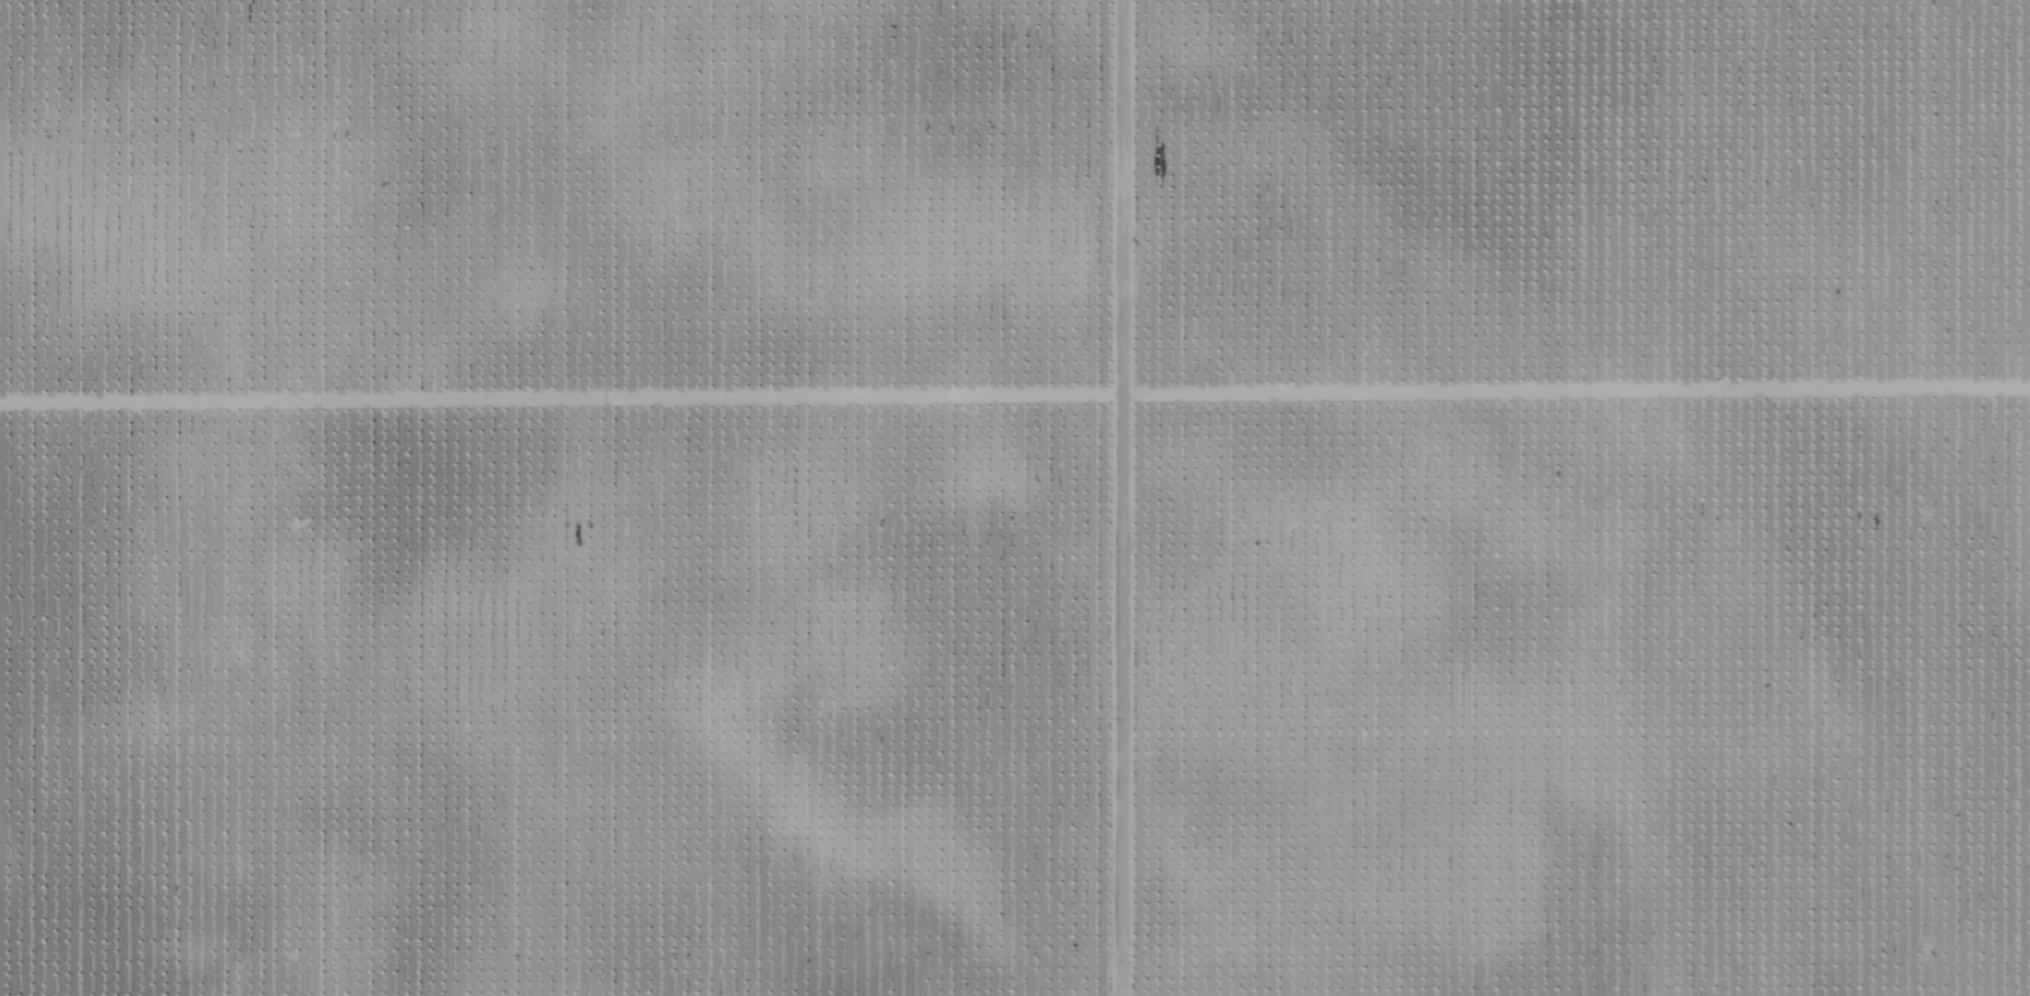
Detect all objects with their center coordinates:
road: (228, 498)
crop: (1015, 498)
road: (1094, 498)
road: (1917, 498)

